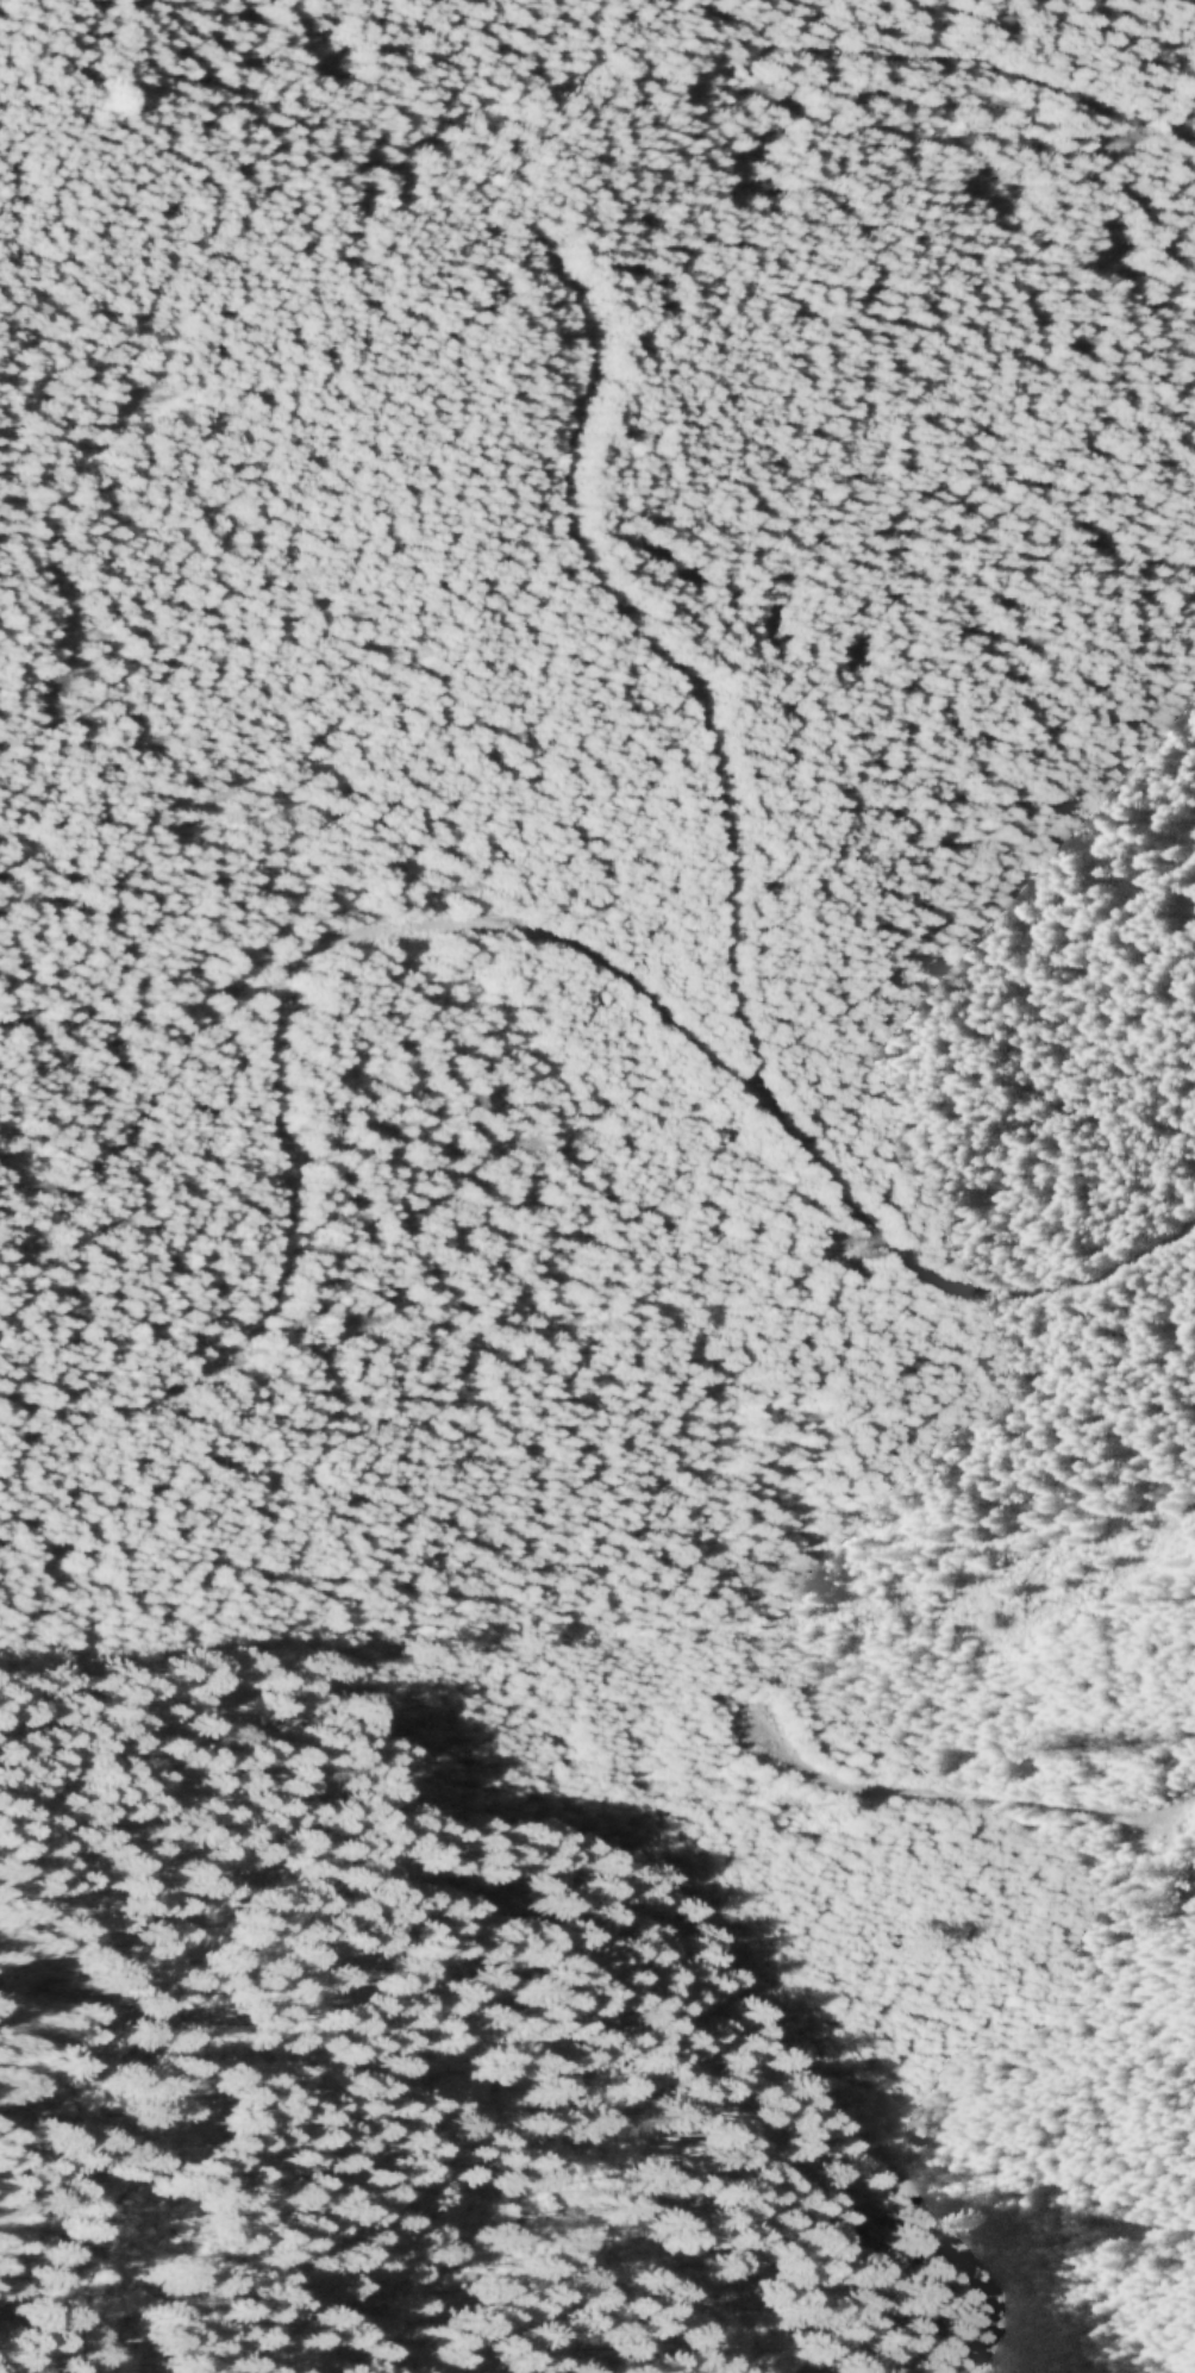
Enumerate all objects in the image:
road: (651, 647)
road: (563, 935)
road: (955, 1790)
road: (82, 2292)

